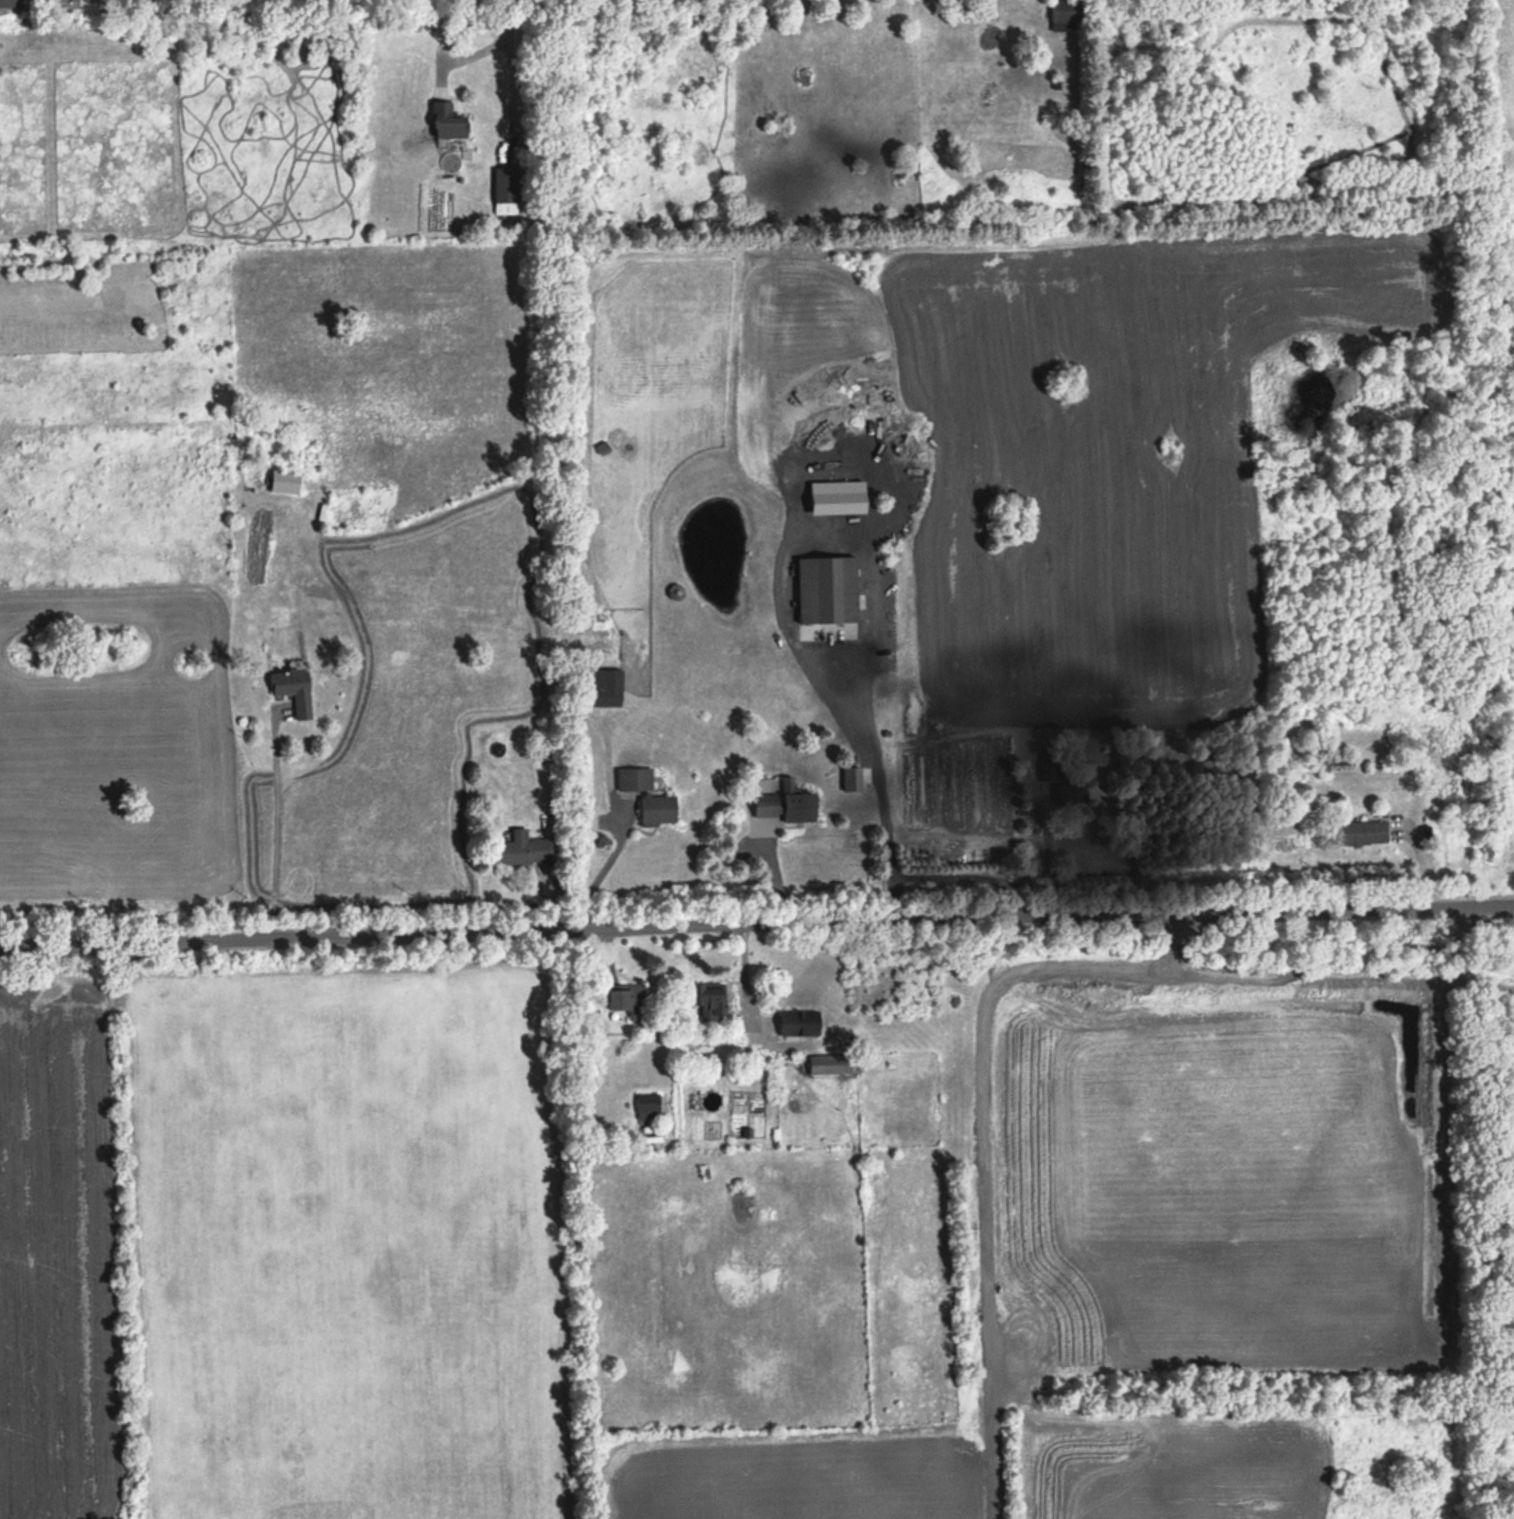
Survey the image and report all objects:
building: (11, 3)
building: (1064, 10)
road: (494, 41)
road: (512, 95)
building: (450, 121)
building: (508, 187)
building: (287, 482)
building: (823, 588)
road: (873, 615)
building: (602, 685)
building: (296, 688)
building: (1047, 770)
building: (849, 777)
building: (631, 778)
building: (1067, 793)
building: (782, 802)
building: (654, 809)
road: (275, 824)
building: (1358, 831)
building: (522, 848)
road: (1048, 858)
road: (601, 867)
road: (776, 868)
road: (756, 921)
building: (620, 998)
building: (705, 999)
building: (795, 1022)
building: (826, 1064)
building: (645, 1104)

